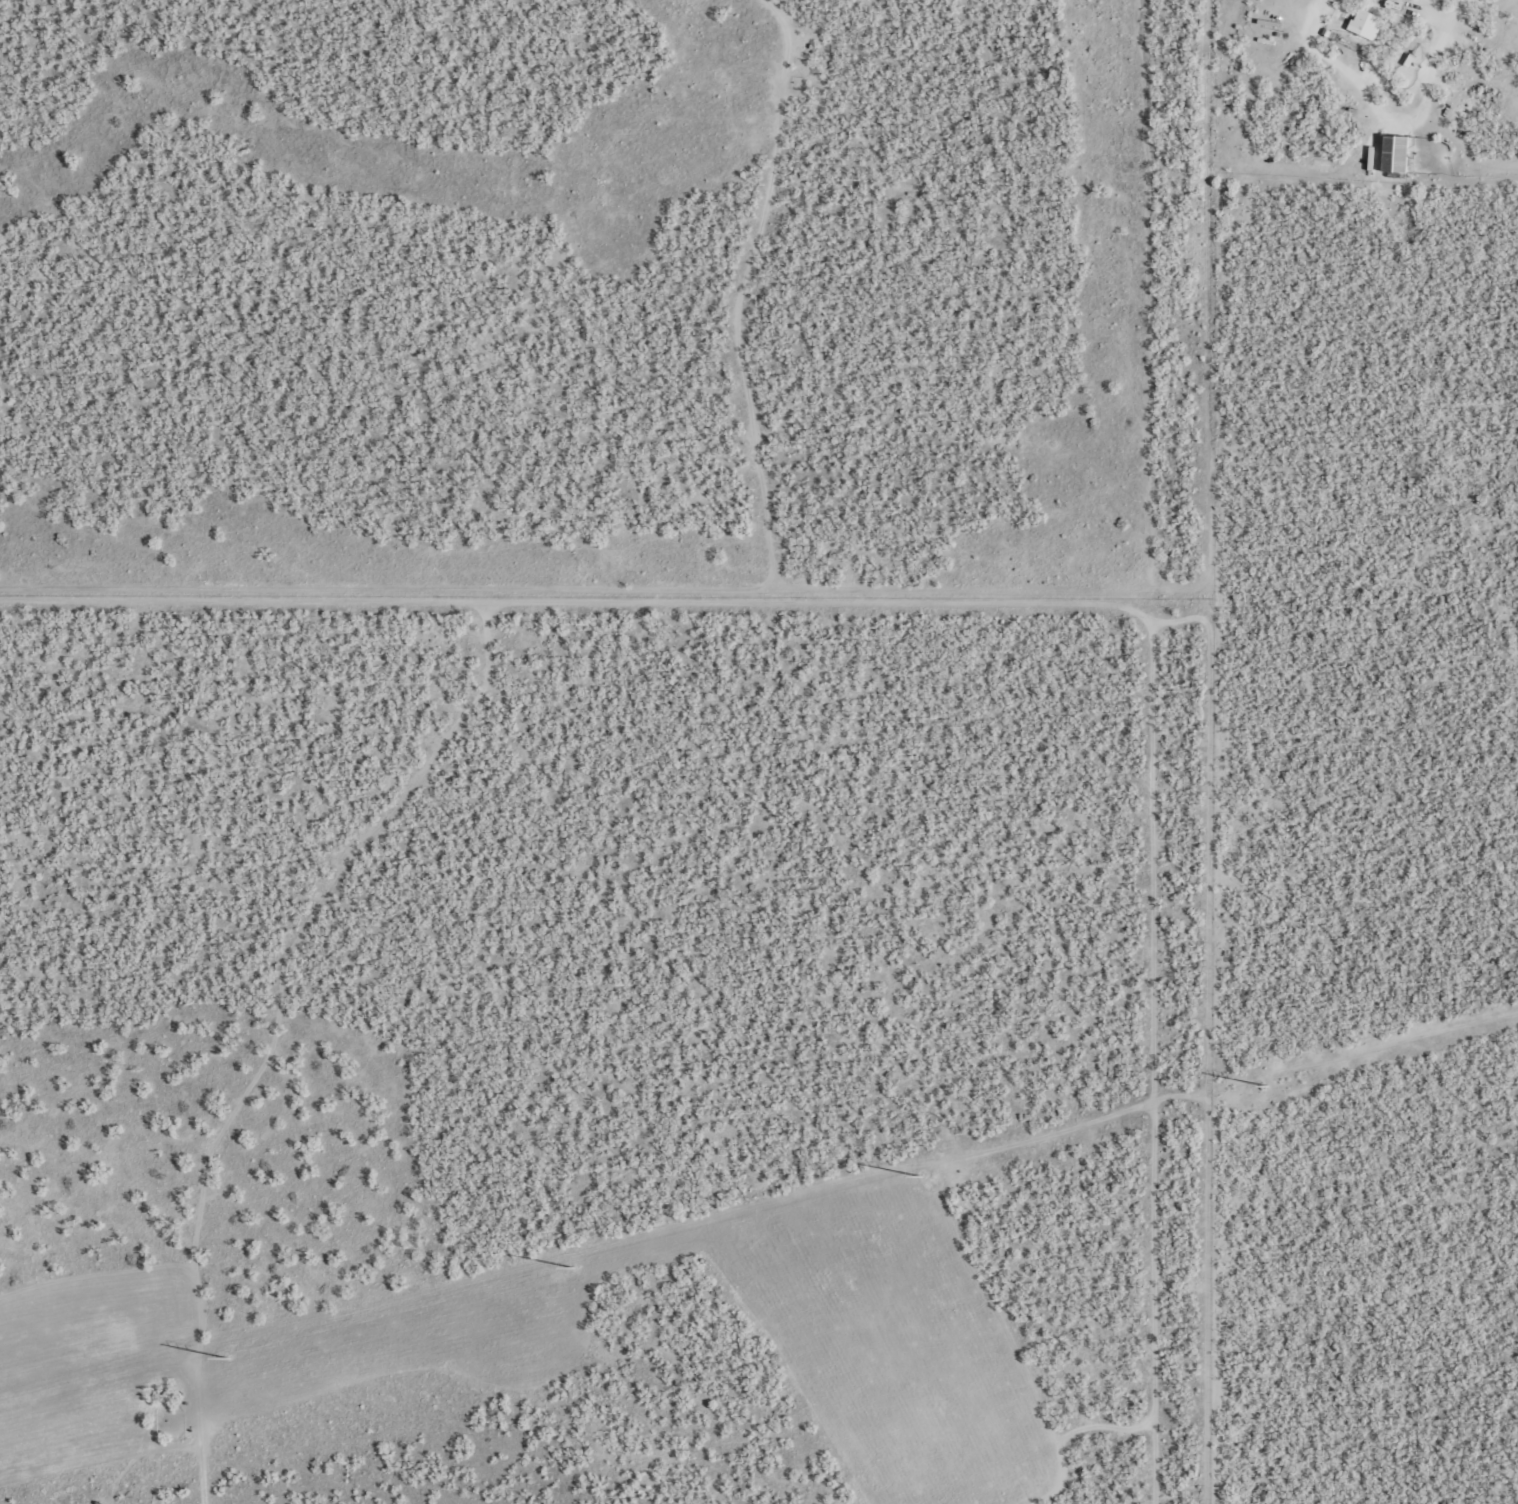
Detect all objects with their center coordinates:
building: (1363, 24)
building: (1392, 153)
power tower: (1264, 1084)
power tower: (918, 1175)
power tower: (571, 1266)
power tower: (225, 1357)

